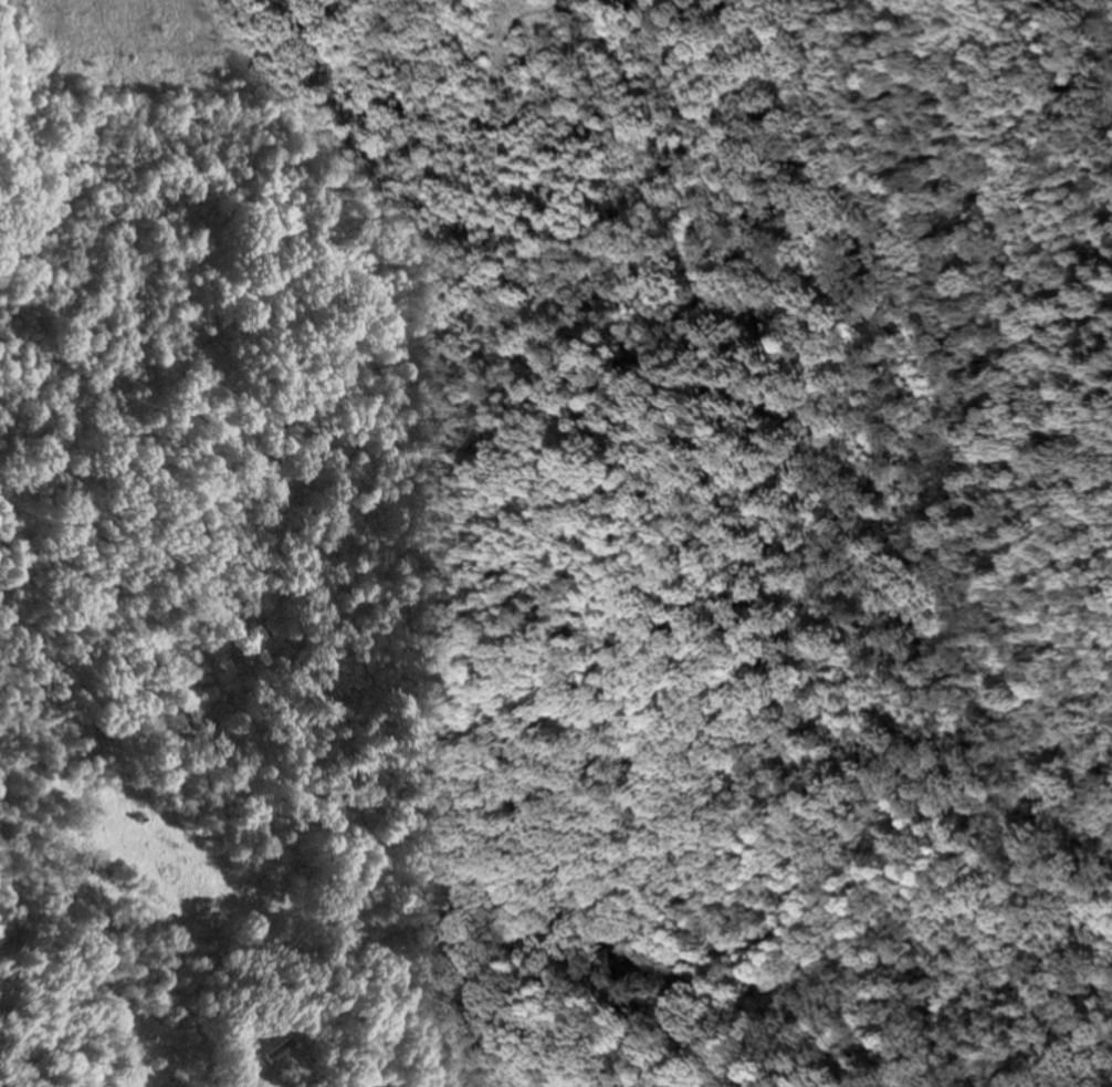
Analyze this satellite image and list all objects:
building: (274, 1052)

